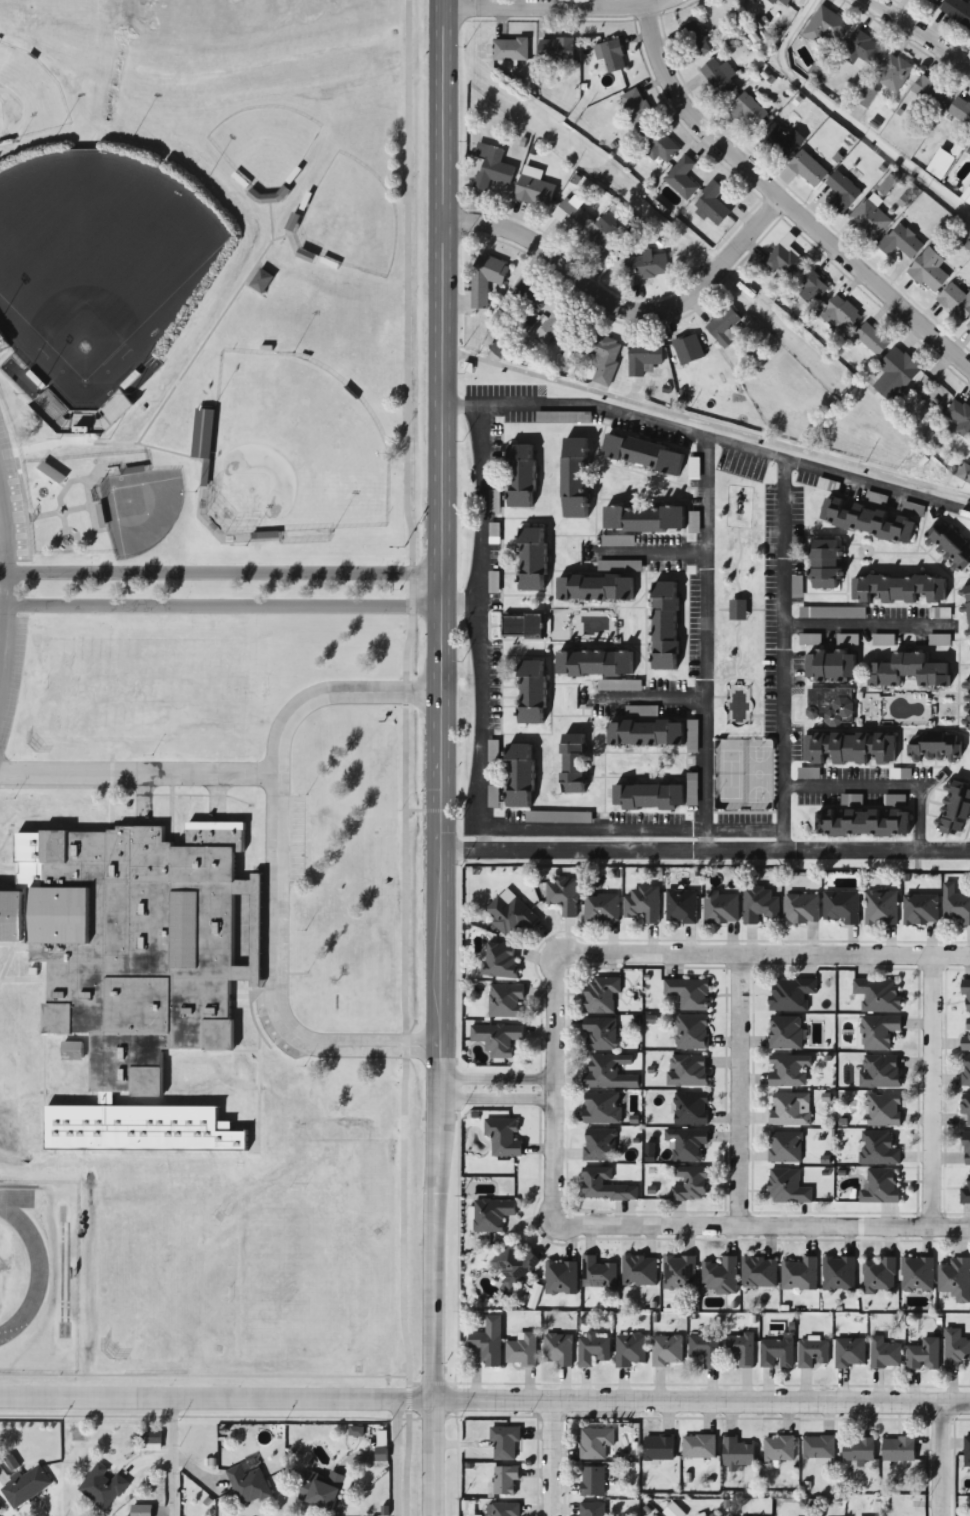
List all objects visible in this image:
building: (773, 1)
road: (539, 2)
building: (930, 2)
building: (957, 11)
building: (825, 28)
road: (921, 34)
building: (694, 39)
building: (509, 50)
building: (860, 50)
building: (555, 51)
building: (611, 55)
building: (893, 72)
building: (719, 79)
building: (928, 91)
park: (27, 98)
building: (635, 108)
building: (960, 110)
building: (747, 111)
road: (844, 118)
building: (780, 141)
park: (263, 144)
building: (661, 146)
building: (968, 150)
building: (492, 167)
building: (807, 169)
building: (681, 178)
building: (533, 188)
building: (841, 193)
building: (711, 204)
road: (771, 208)
building: (571, 215)
park: (350, 219)
building: (869, 220)
building: (604, 234)
building: (900, 242)
building: (307, 254)
building: (785, 262)
park: (97, 266)
building: (646, 266)
building: (928, 271)
building: (486, 279)
building: (262, 280)
building: (813, 288)
building: (525, 298)
building: (956, 301)
road: (616, 315)
building: (845, 315)
building: (553, 325)
building: (968, 326)
building: (725, 327)
building: (871, 339)
building: (500, 348)
building: (687, 350)
building: (643, 357)
building: (603, 359)
building: (895, 375)
building: (51, 406)
building: (959, 419)
road: (706, 423)
building: (204, 434)
road: (709, 439)
park: (291, 450)
building: (640, 454)
parking lot: (743, 466)
building: (693, 469)
building: (518, 475)
building: (571, 478)
parking lot: (9, 510)
park: (139, 510)
building: (641, 518)
building: (865, 521)
road: (3, 534)
building: (948, 546)
road: (652, 553)
building: (530, 559)
building: (822, 564)
road: (220, 569)
road: (6, 585)
building: (591, 588)
building: (897, 589)
road: (221, 602)
road: (459, 605)
building: (966, 606)
building: (663, 626)
road: (478, 628)
road: (863, 628)
road: (3, 632)
road: (705, 645)
park: (740, 650)
road: (784, 656)
building: (591, 664)
parking lot: (10, 666)
building: (828, 667)
building: (907, 672)
building: (529, 693)
road: (645, 702)
road: (441, 703)
building: (967, 705)
building: (829, 706)
building: (643, 733)
building: (932, 747)
building: (848, 748)
building: (570, 763)
road: (137, 768)
park: (731, 775)
building: (517, 776)
park: (758, 776)
road: (885, 786)
building: (645, 797)
building: (953, 808)
building: (557, 818)
parking lot: (681, 819)
building: (860, 823)
road: (632, 830)
road: (705, 852)
road: (272, 866)
building: (562, 895)
building: (642, 904)
building: (758, 905)
building: (680, 906)
building: (954, 906)
building: (839, 907)
building: (601, 908)
building: (720, 908)
building: (880, 908)
building: (800, 910)
building: (920, 910)
building: (510, 916)
building: (136, 946)
building: (499, 961)
building: (687, 993)
building: (790, 994)
building: (877, 995)
building: (600, 996)
building: (966, 996)
building: (504, 1001)
building: (878, 1031)
building: (691, 1032)
building: (785, 1033)
building: (600, 1034)
building: (965, 1036)
building: (495, 1038)
building: (788, 1070)
building: (686, 1071)
building: (880, 1071)
building: (608, 1072)
building: (965, 1072)
road: (737, 1089)
road: (929, 1090)
road: (551, 1091)
road: (496, 1101)
building: (965, 1107)
building: (601, 1108)
building: (690, 1109)
building: (789, 1109)
building: (883, 1110)
building: (502, 1138)
building: (599, 1145)
building: (688, 1146)
building: (784, 1148)
building: (877, 1148)
building: (965, 1148)
building: (689, 1184)
building: (604, 1186)
building: (786, 1187)
building: (880, 1187)
building: (965, 1192)
building: (490, 1214)
building: (513, 1262)
track: (18, 1263)
building: (639, 1270)
building: (597, 1272)
building: (679, 1272)
building: (758, 1272)
building: (838, 1273)
building: (798, 1274)
building: (719, 1275)
building: (916, 1275)
building: (878, 1276)
building: (560, 1277)
building: (954, 1279)
building: (488, 1341)
building: (704, 1348)
building: (740, 1348)
building: (954, 1348)
building: (557, 1349)
building: (592, 1349)
building: (629, 1349)
building: (521, 1350)
building: (666, 1350)
building: (776, 1352)
building: (849, 1352)
building: (811, 1353)
building: (884, 1353)
building: (922, 1355)
road: (215, 1400)
road: (700, 1411)
building: (151, 1438)
building: (505, 1442)
building: (596, 1442)
building: (698, 1446)
building: (659, 1447)
building: (817, 1447)
building: (778, 1448)
building: (858, 1449)
building: (898, 1449)
building: (966, 1452)
building: (735, 1453)
road: (174, 1457)
road: (431, 1461)
road: (548, 1462)
road: (939, 1465)
building: (593, 1480)
building: (507, 1482)
building: (248, 1484)
building: (25, 1486)
building: (103, 1486)
building: (323, 1489)
building: (503, 1509)
building: (593, 1509)
building: (140, 1510)
building: (714, 1515)

